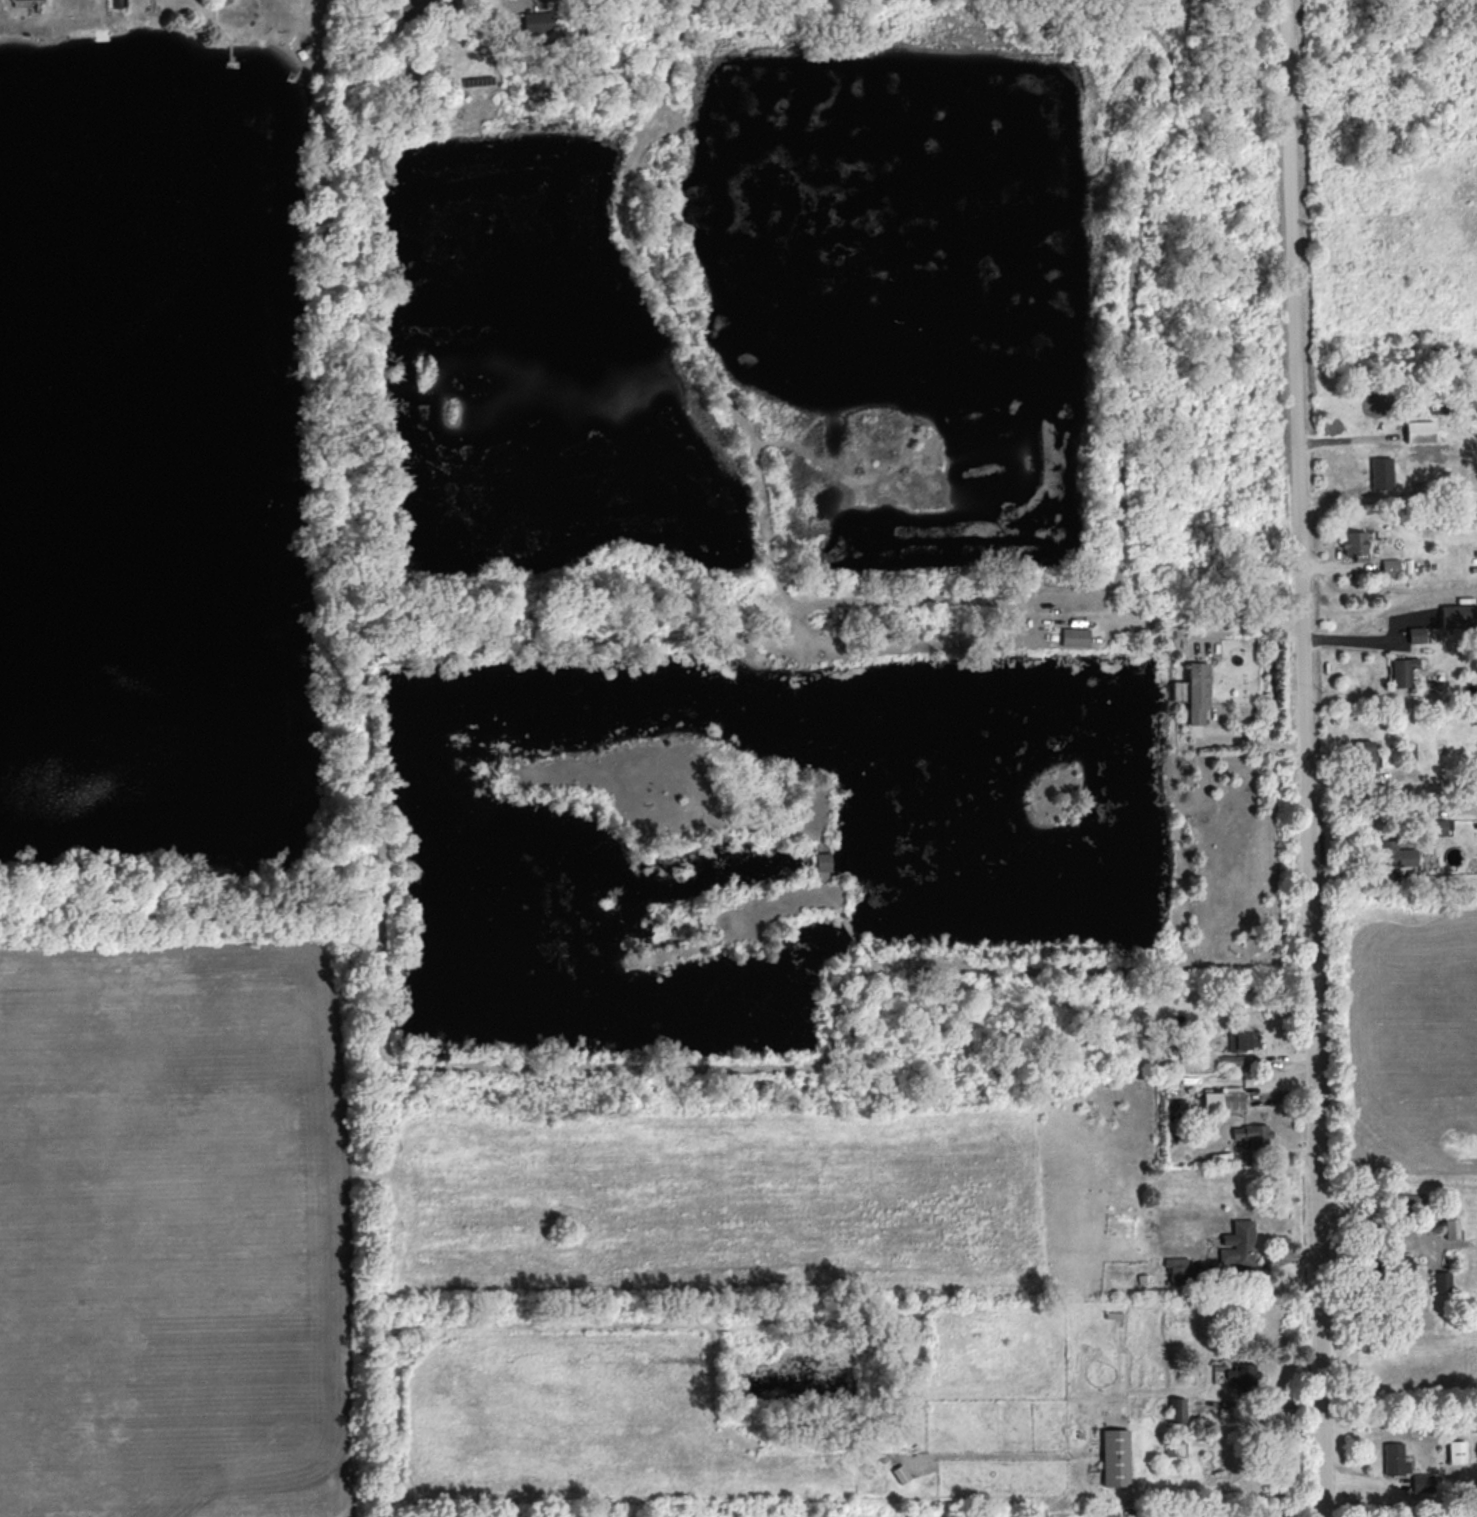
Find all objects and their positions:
road: (475, 2)
building: (426, 6)
building: (537, 22)
building: (1419, 431)
building: (1382, 473)
building: (1355, 545)
building: (1390, 567)
building: (1458, 616)
road: (1208, 624)
building: (1416, 634)
building: (1074, 637)
road: (1374, 640)
building: (1402, 671)
building: (1194, 691)
road: (1249, 736)
building: (1363, 754)
road: (1305, 758)
building: (1439, 827)
building: (1394, 858)
building: (822, 861)
building: (1242, 1040)
building: (1224, 1099)
building: (1252, 1133)
building: (1451, 1216)
road: (1370, 1222)
building: (1238, 1244)
building: (1401, 1265)
building: (1177, 1270)
building: (1441, 1281)
building: (1242, 1374)
building: (1179, 1410)
building: (1457, 1451)
building: (1115, 1457)
building: (1395, 1459)
building: (901, 1473)
building: (1422, 1482)

